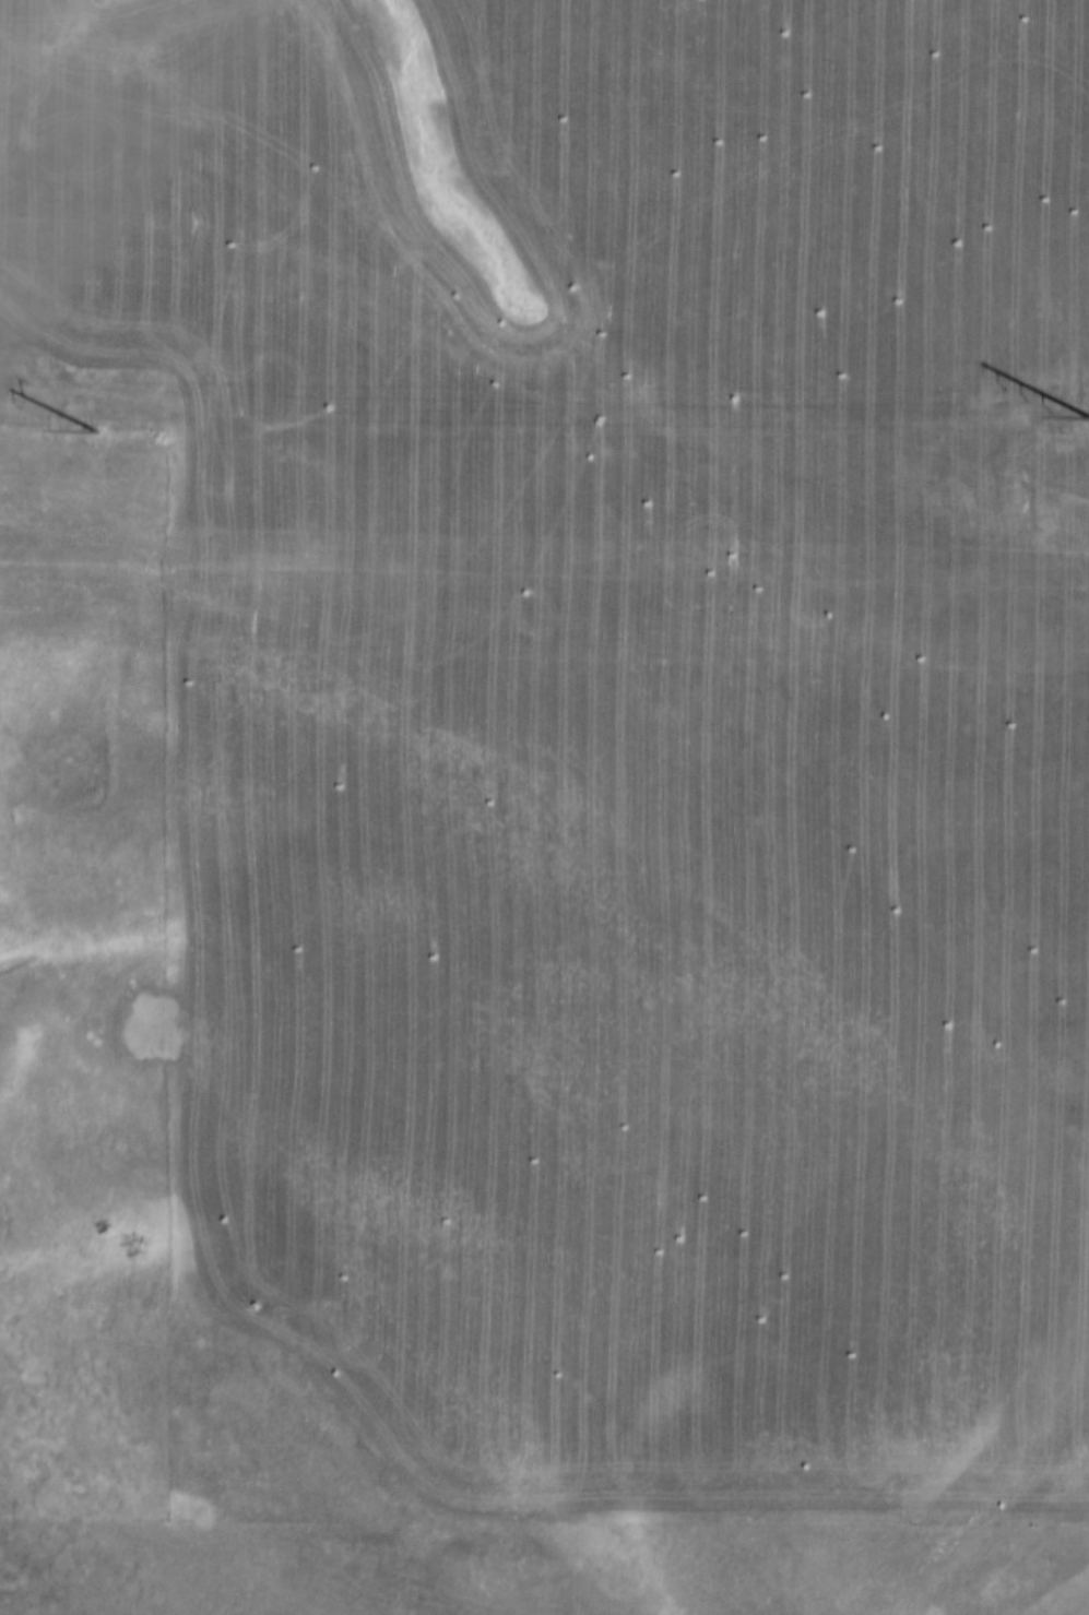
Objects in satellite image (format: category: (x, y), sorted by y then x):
power tower: (1088, 419)
power tower: (91, 434)
road: (1082, 1611)

